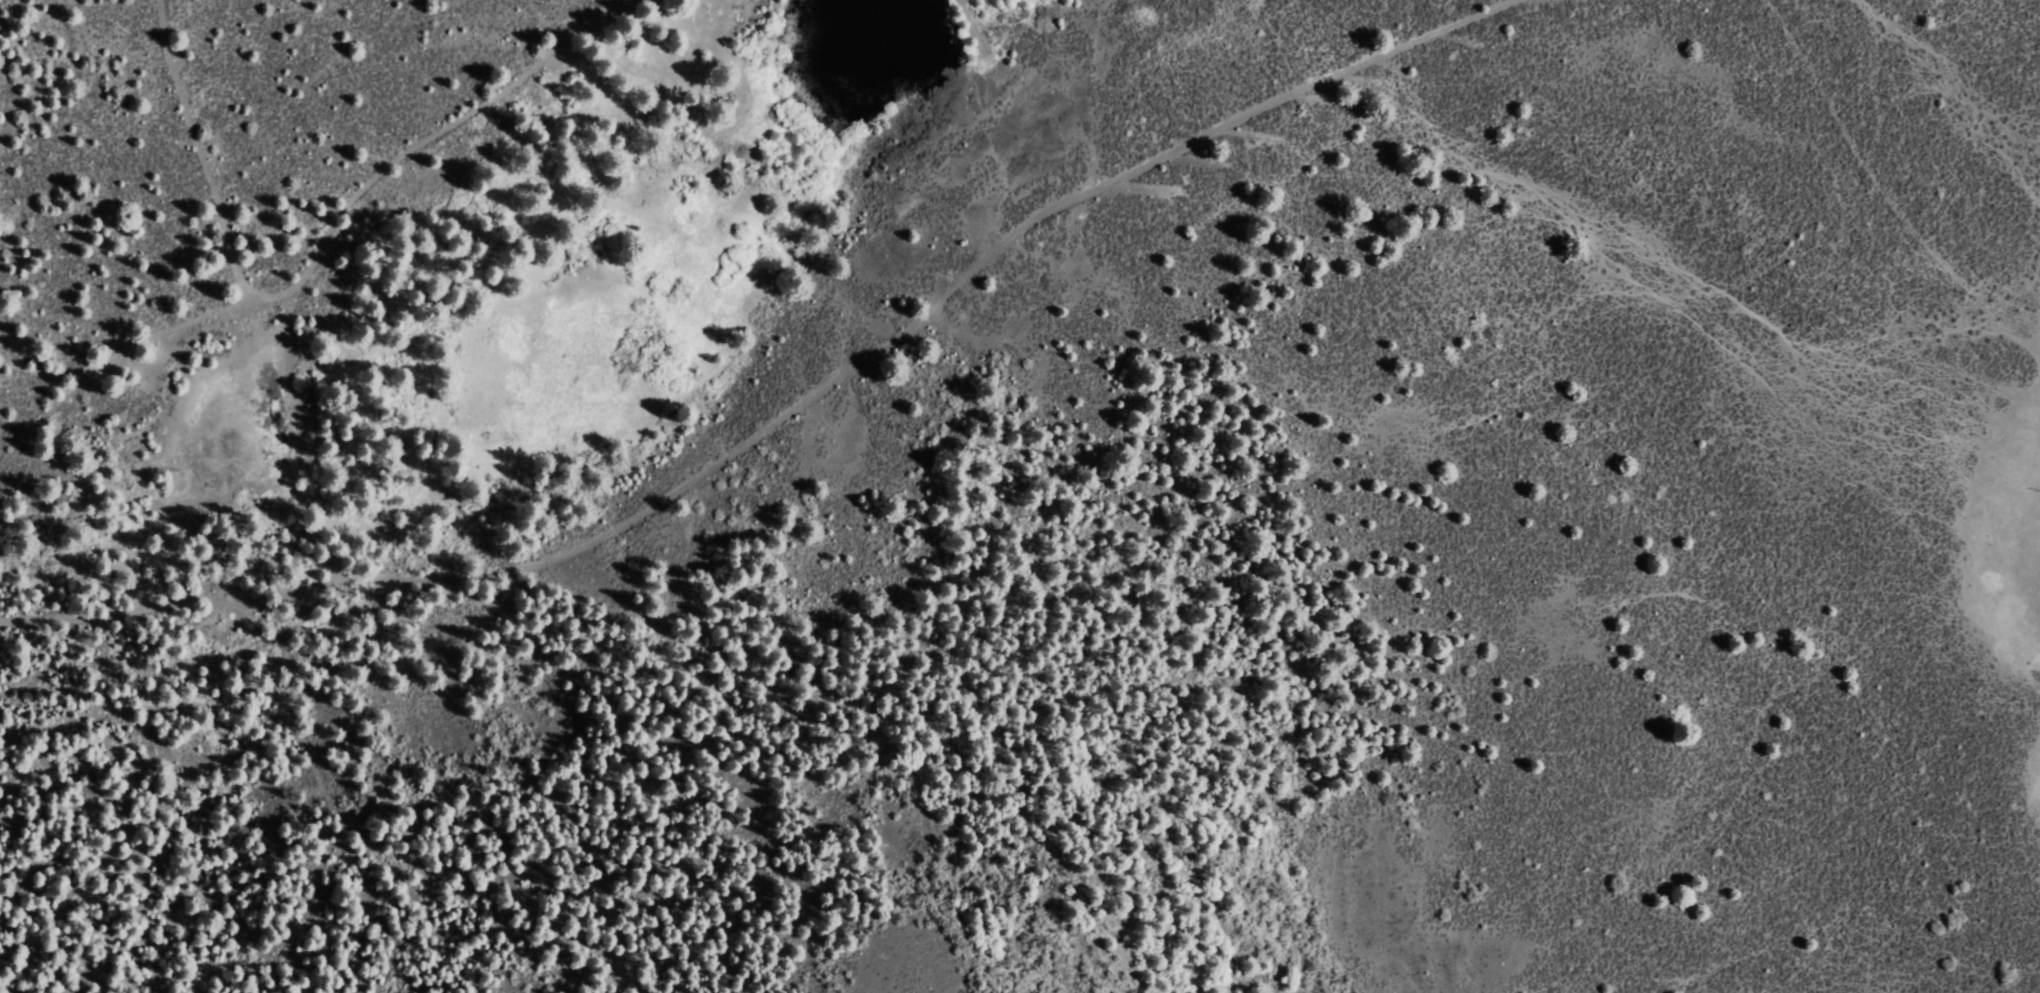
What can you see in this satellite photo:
crop: (414, 477)

